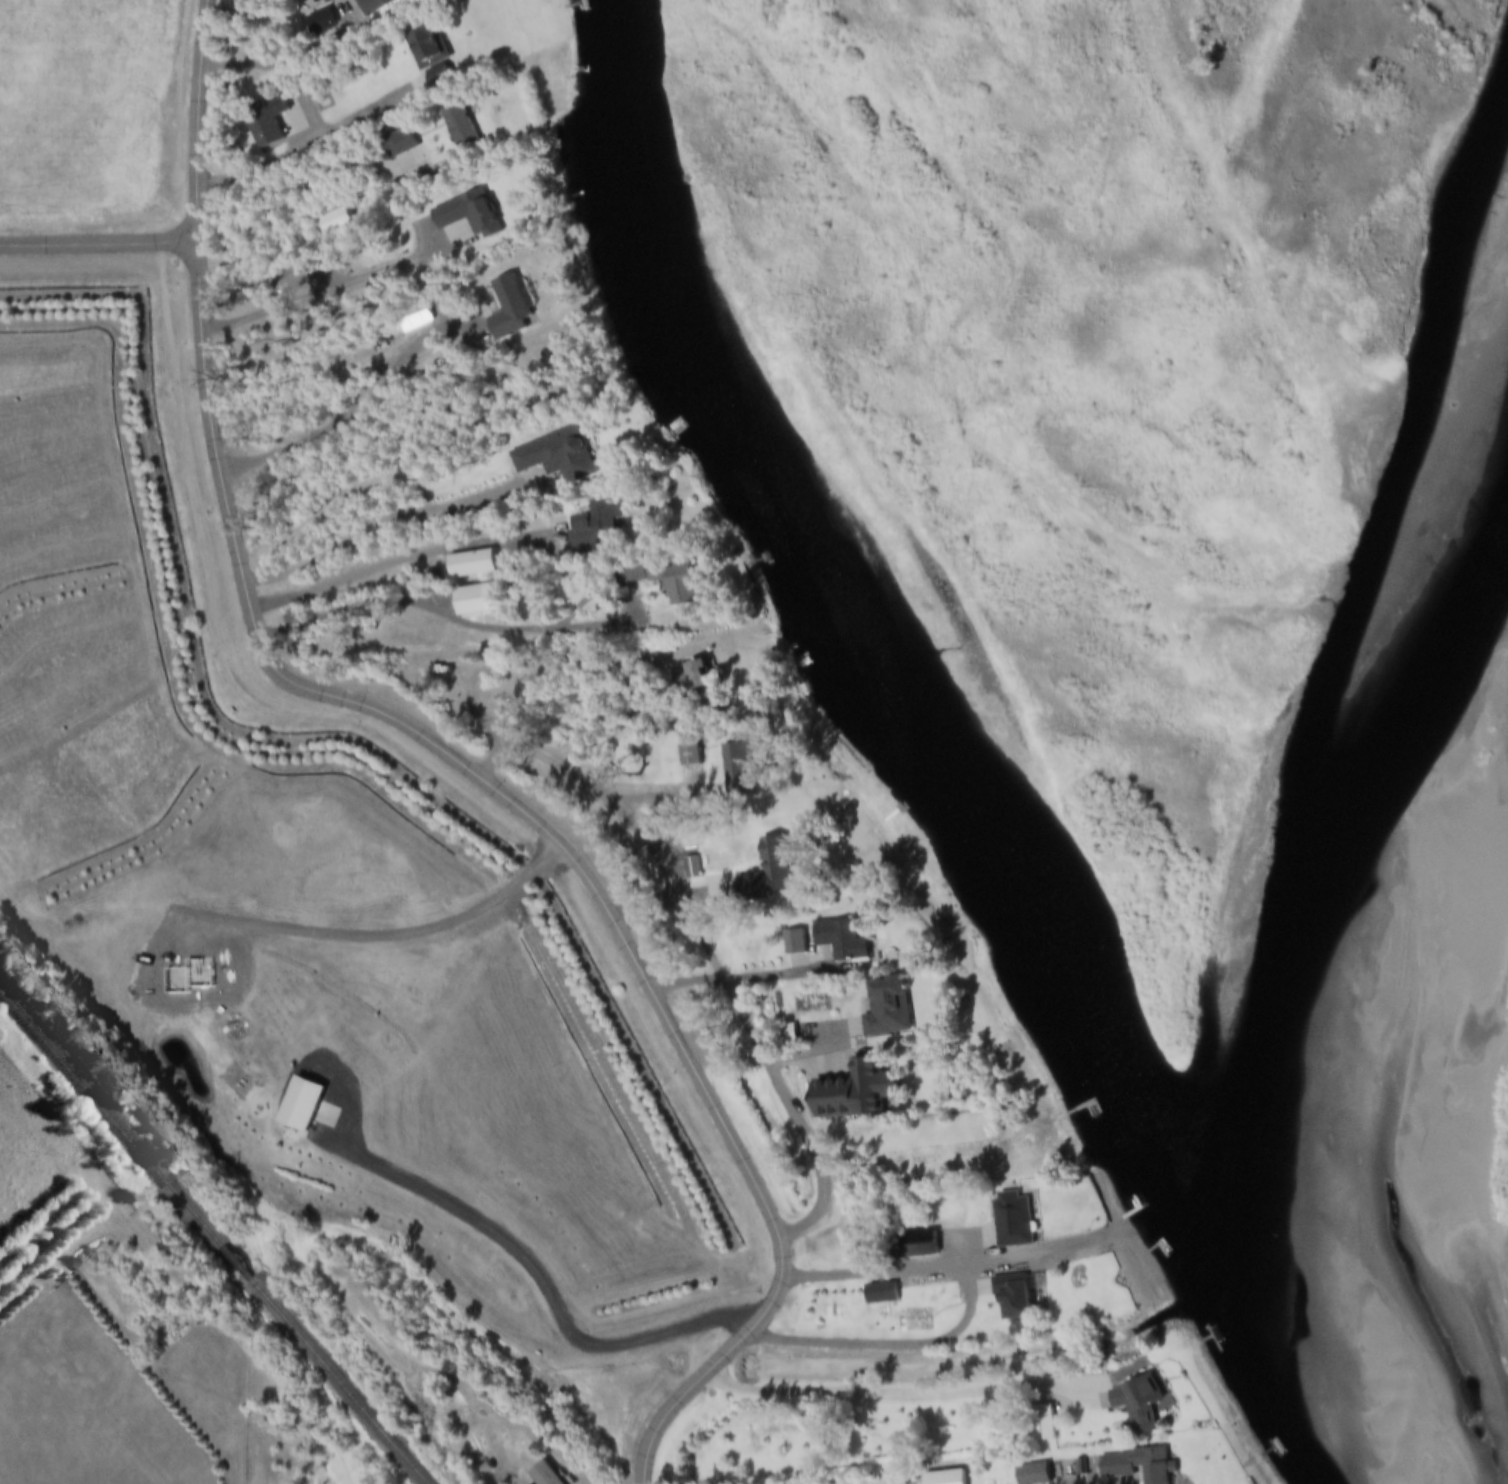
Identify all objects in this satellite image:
building: (315, 4)
building: (370, 6)
building: (422, 48)
road: (290, 65)
building: (454, 126)
building: (258, 127)
building: (395, 145)
road: (309, 146)
road: (298, 189)
building: (462, 220)
building: (332, 222)
road: (99, 244)
building: (288, 279)
building: (409, 320)
building: (541, 357)
building: (553, 458)
road: (374, 524)
building: (590, 526)
road: (400, 560)
building: (468, 566)
building: (465, 603)
road: (445, 613)
building: (684, 679)
building: (684, 753)
road: (493, 756)
road: (456, 758)
building: (765, 860)
building: (740, 889)
road: (700, 936)
building: (836, 942)
building: (791, 944)
building: (882, 1009)
building: (785, 1034)
building: (837, 1099)
building: (301, 1104)
building: (1012, 1220)
railway: (217, 1234)
building: (1014, 1299)
road: (969, 1319)
road: (884, 1392)
building: (1138, 1404)
building: (1042, 1424)
building: (1136, 1466)
building: (1033, 1474)
building: (545, 1475)

